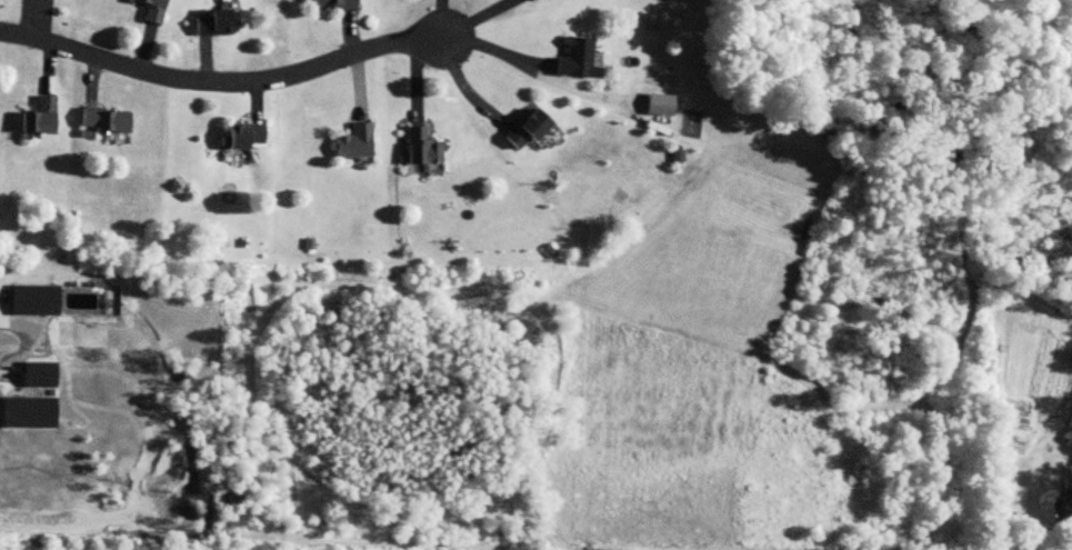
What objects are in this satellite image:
building: (329, 3)
building: (148, 10)
building: (211, 23)
road: (494, 51)
building: (570, 58)
road: (219, 78)
building: (657, 104)
building: (36, 117)
building: (101, 120)
building: (521, 129)
building: (239, 136)
building: (351, 143)
building: (418, 148)
road: (23, 340)
building: (1060, 507)

